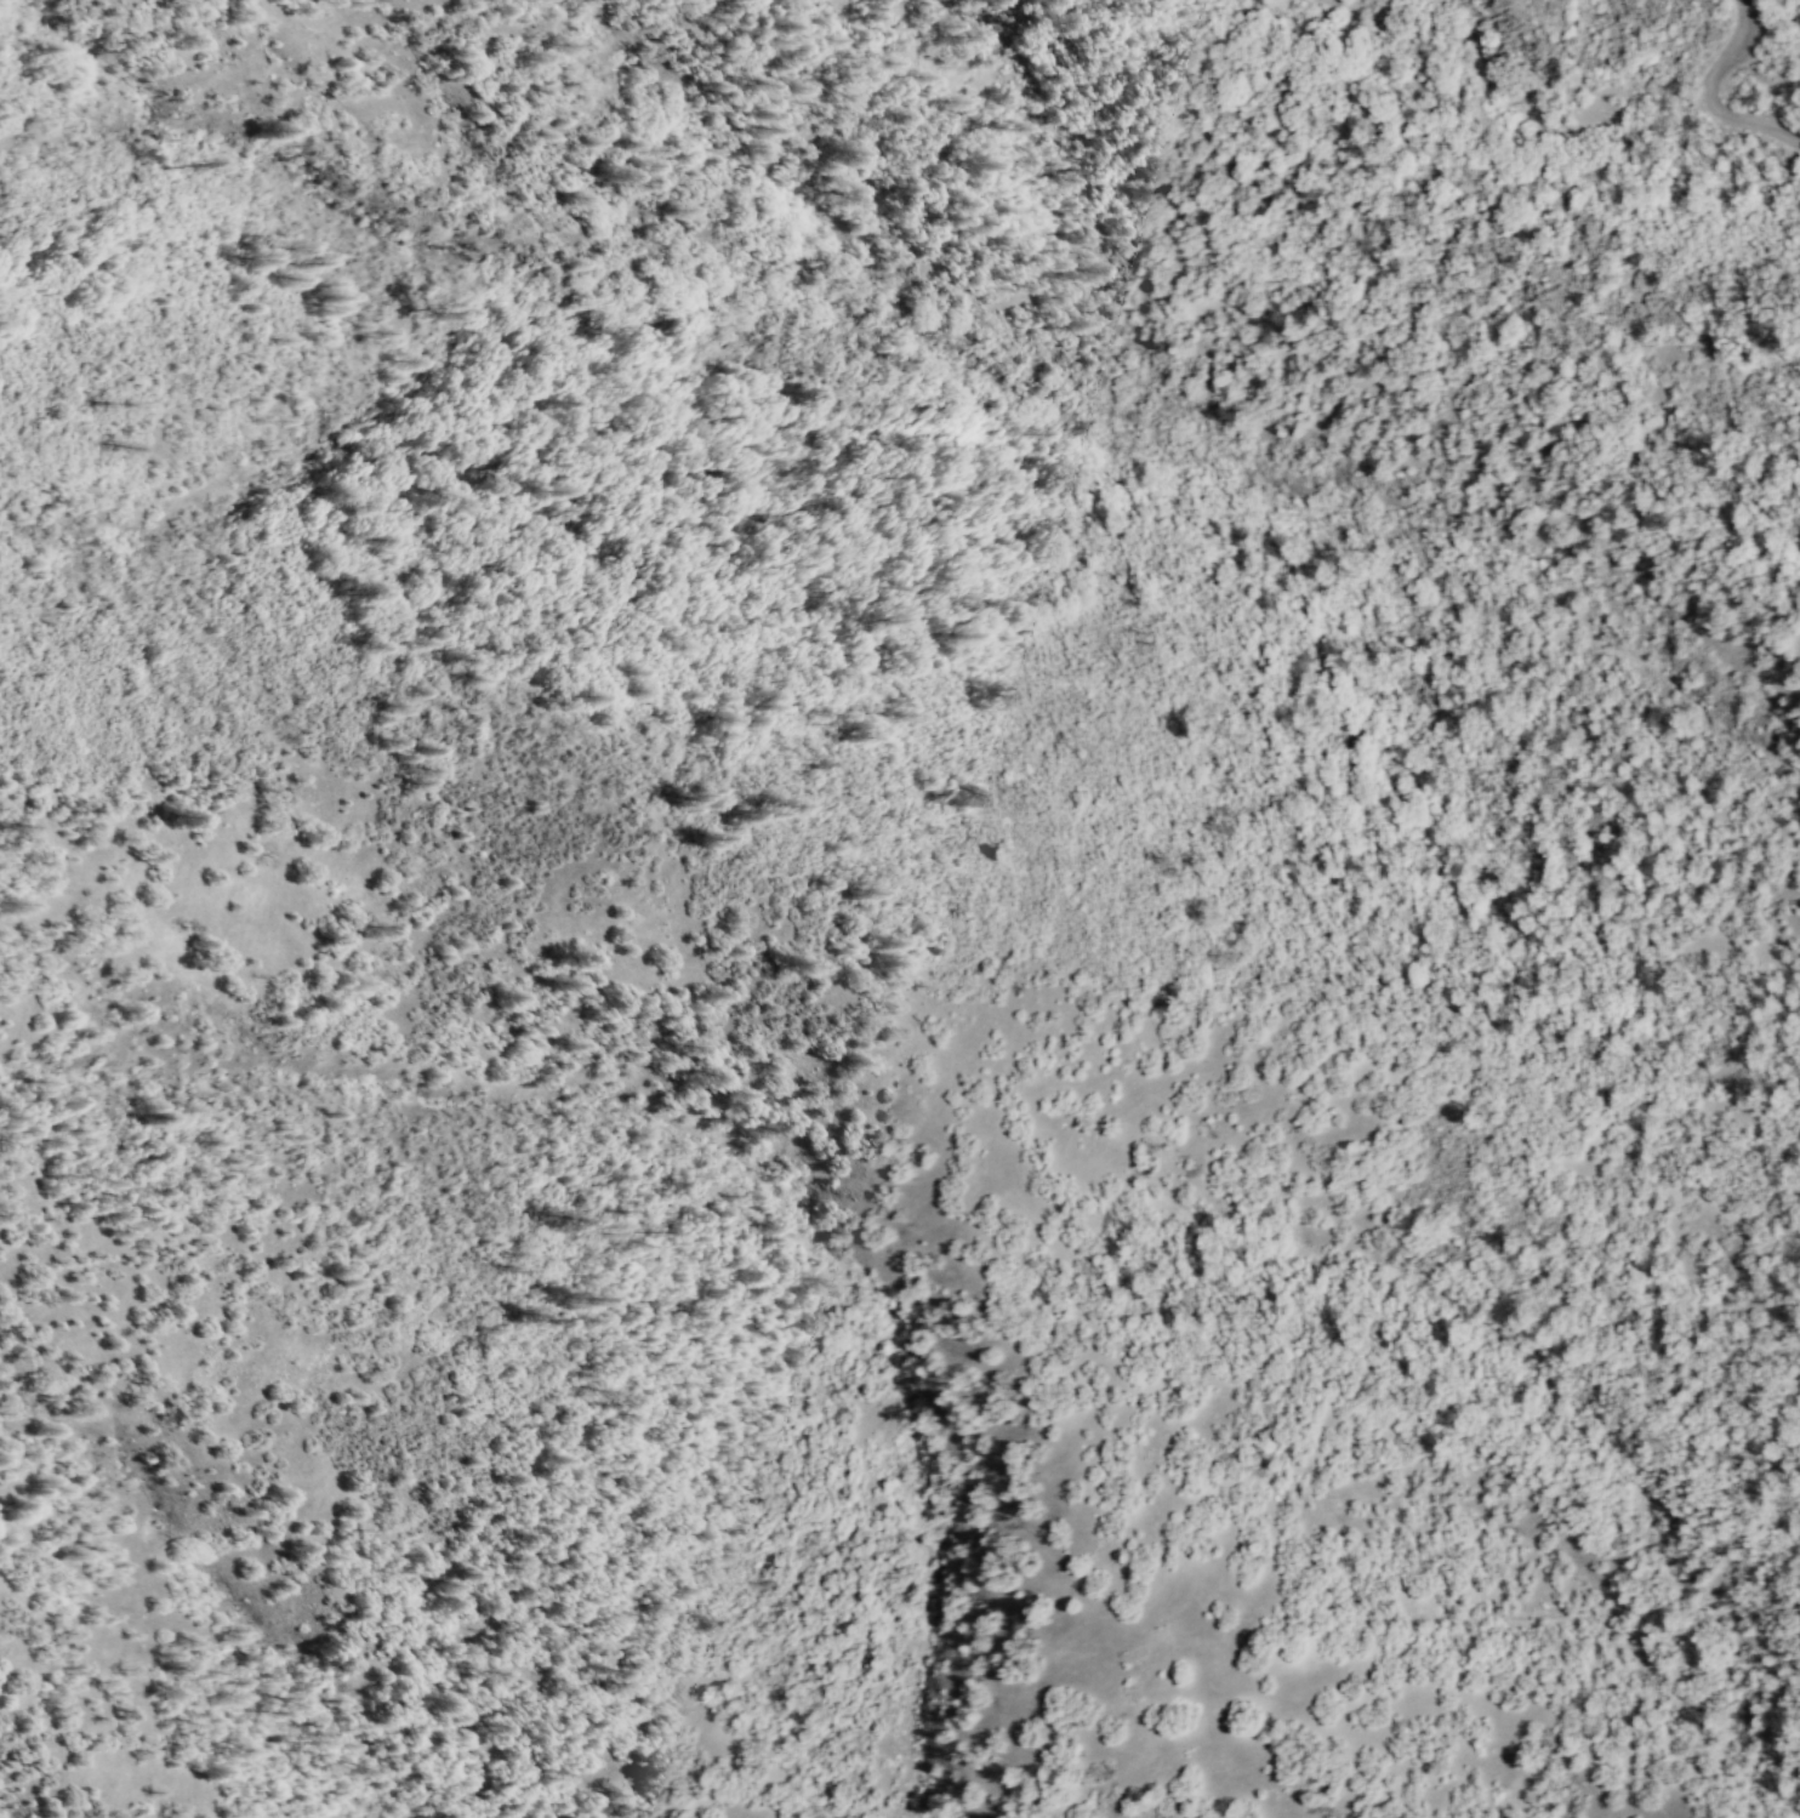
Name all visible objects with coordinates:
road: (1703, 98)

